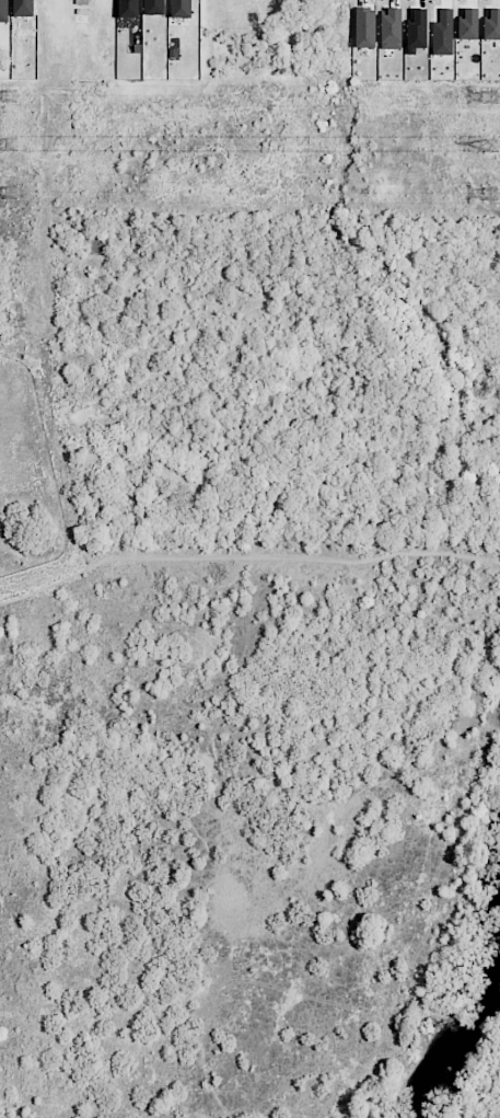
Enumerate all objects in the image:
building: (154, 7)
building: (23, 8)
building: (129, 9)
building: (182, 9)
building: (3, 11)
building: (365, 27)
building: (392, 27)
power tower: (490, 97)
power tower: (14, 101)
power tower: (13, 146)
power tower: (493, 147)
power tower: (13, 193)
power tower: (493, 195)

